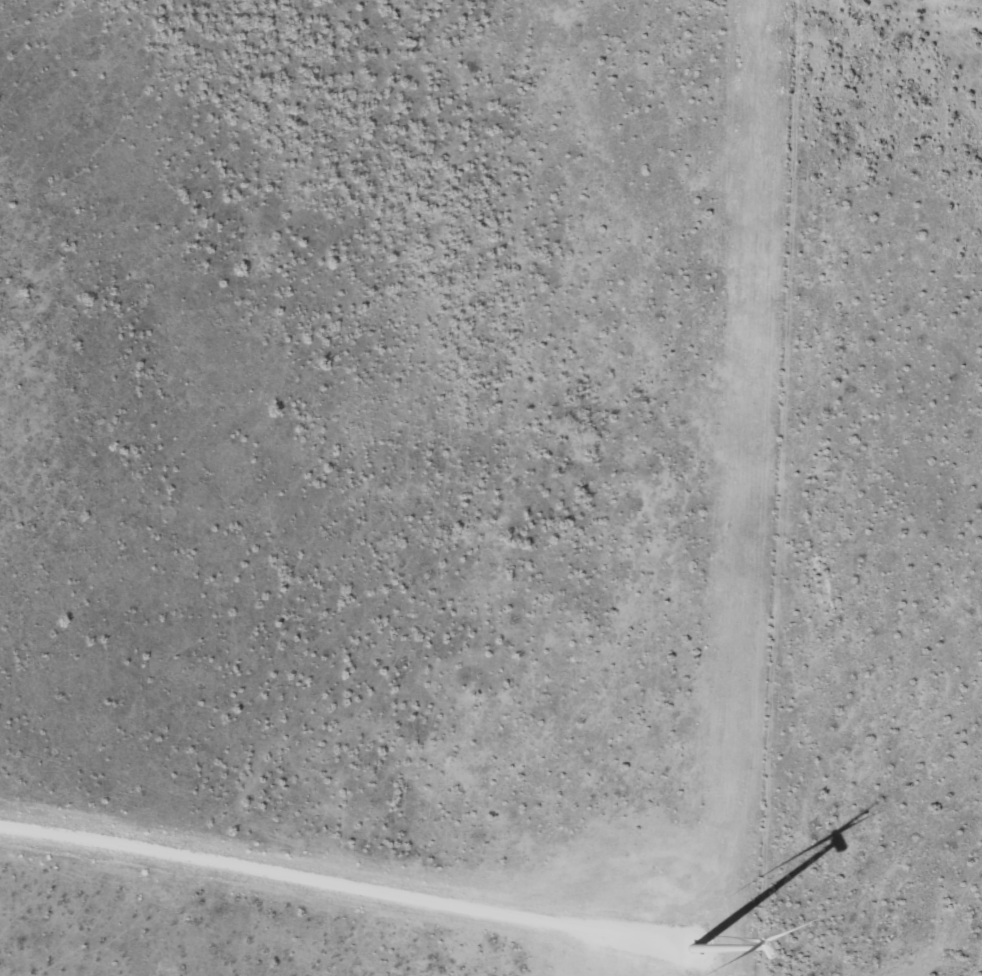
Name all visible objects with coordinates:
wind turbine: (695, 947)

